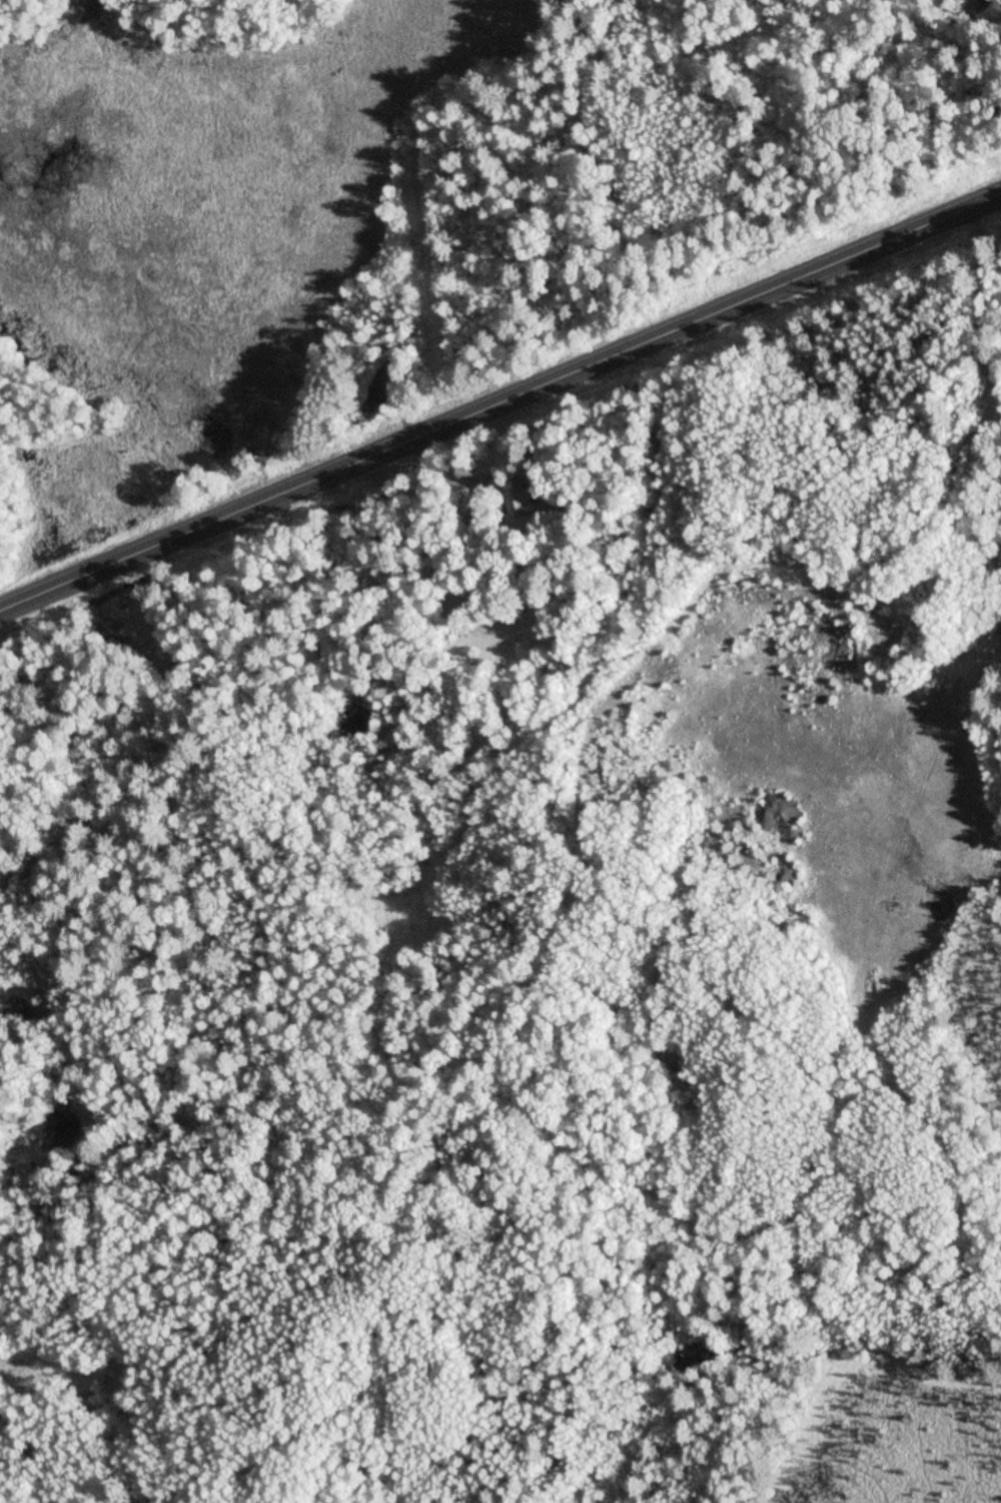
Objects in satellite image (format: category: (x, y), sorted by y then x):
road: (500, 402)
building: (517, 500)

